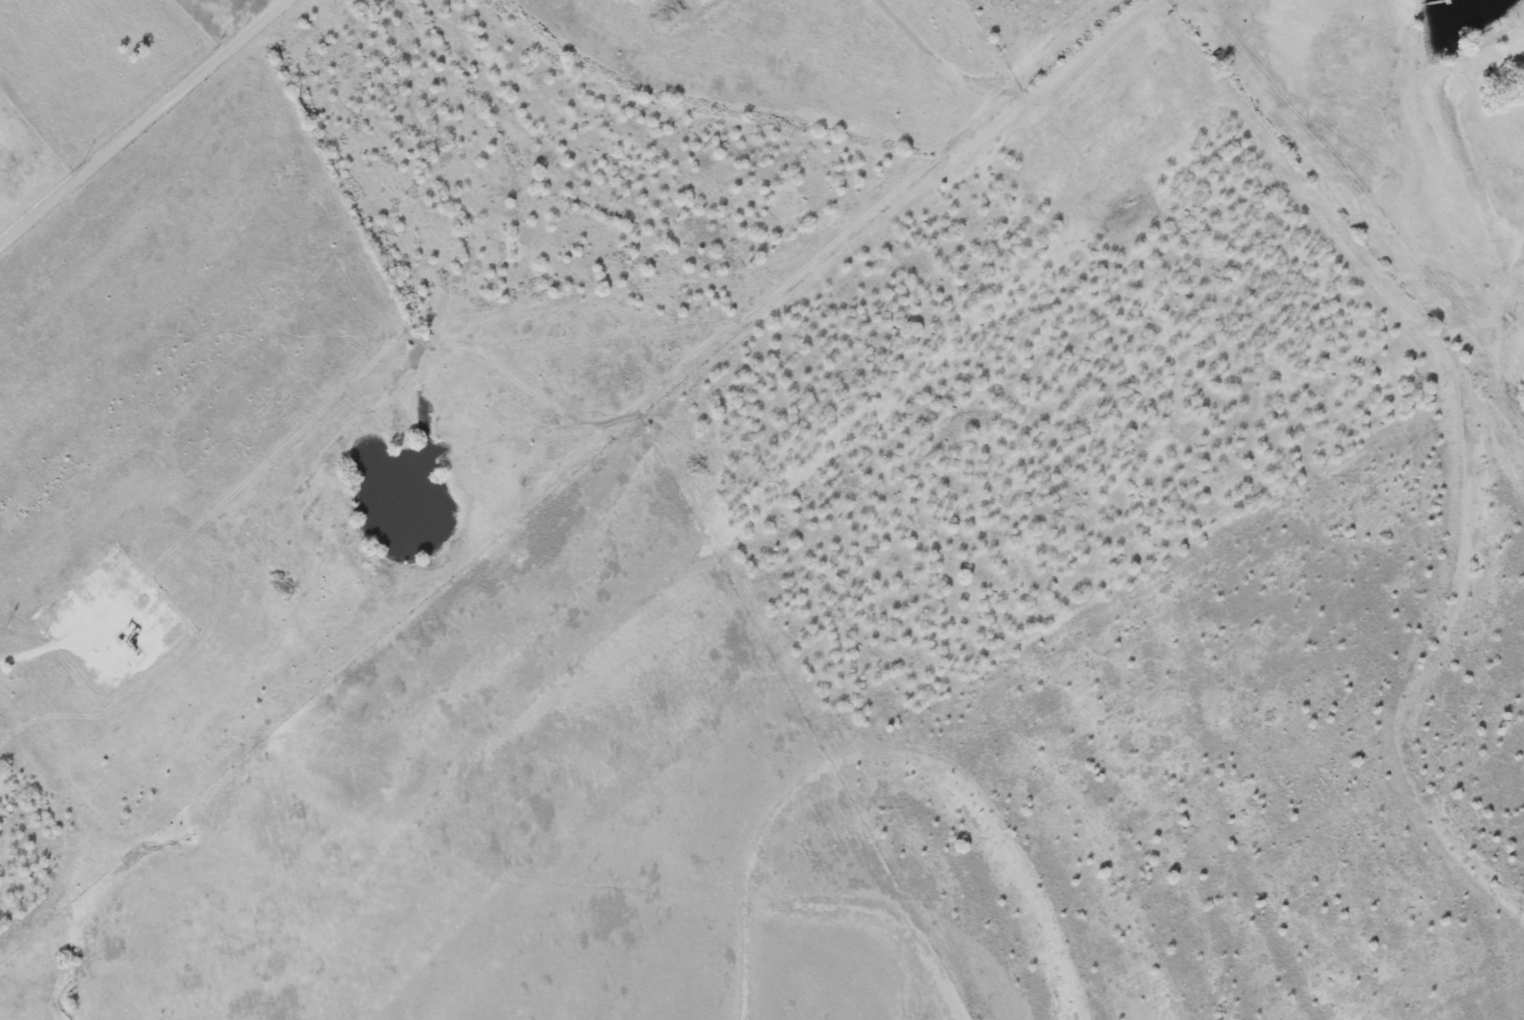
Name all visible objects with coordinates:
road: (143, 122)
road: (38, 656)

